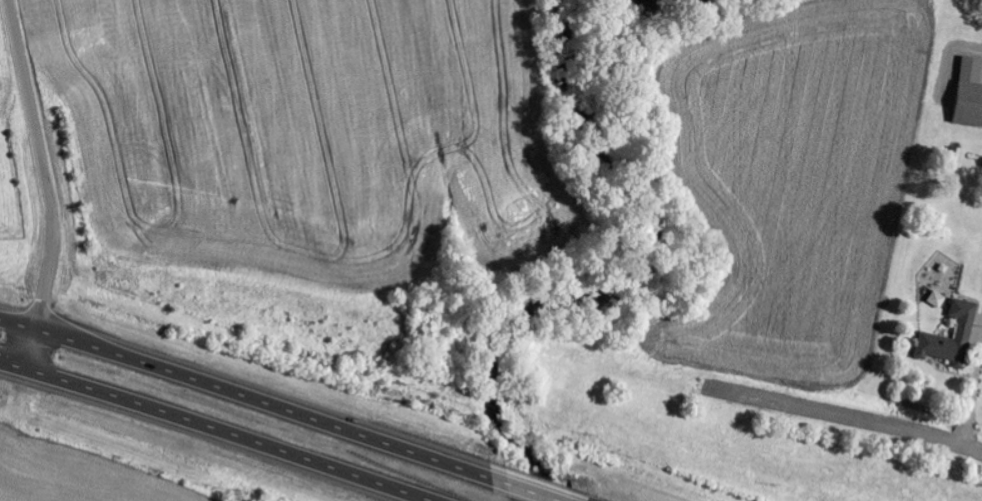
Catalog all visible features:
building: (970, 96)
road: (45, 186)
river: (631, 279)
building: (937, 301)
building: (968, 337)
road: (254, 398)
road: (847, 418)
road: (211, 432)
road: (530, 492)

